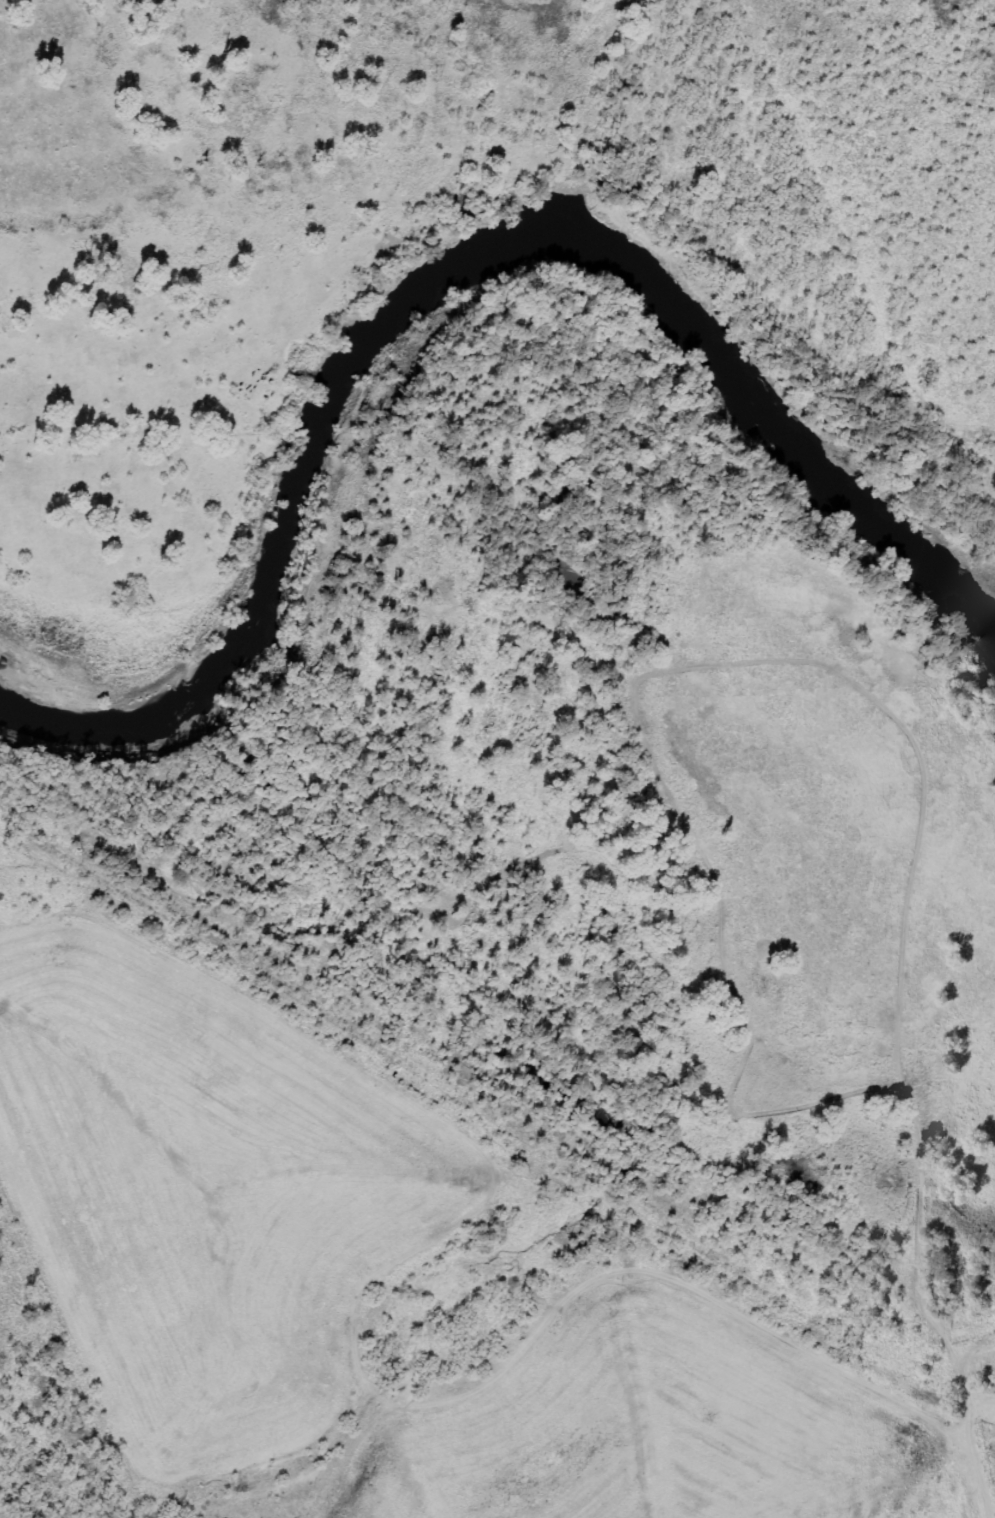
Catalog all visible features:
river: (457, 271)
railway: (491, 1109)

